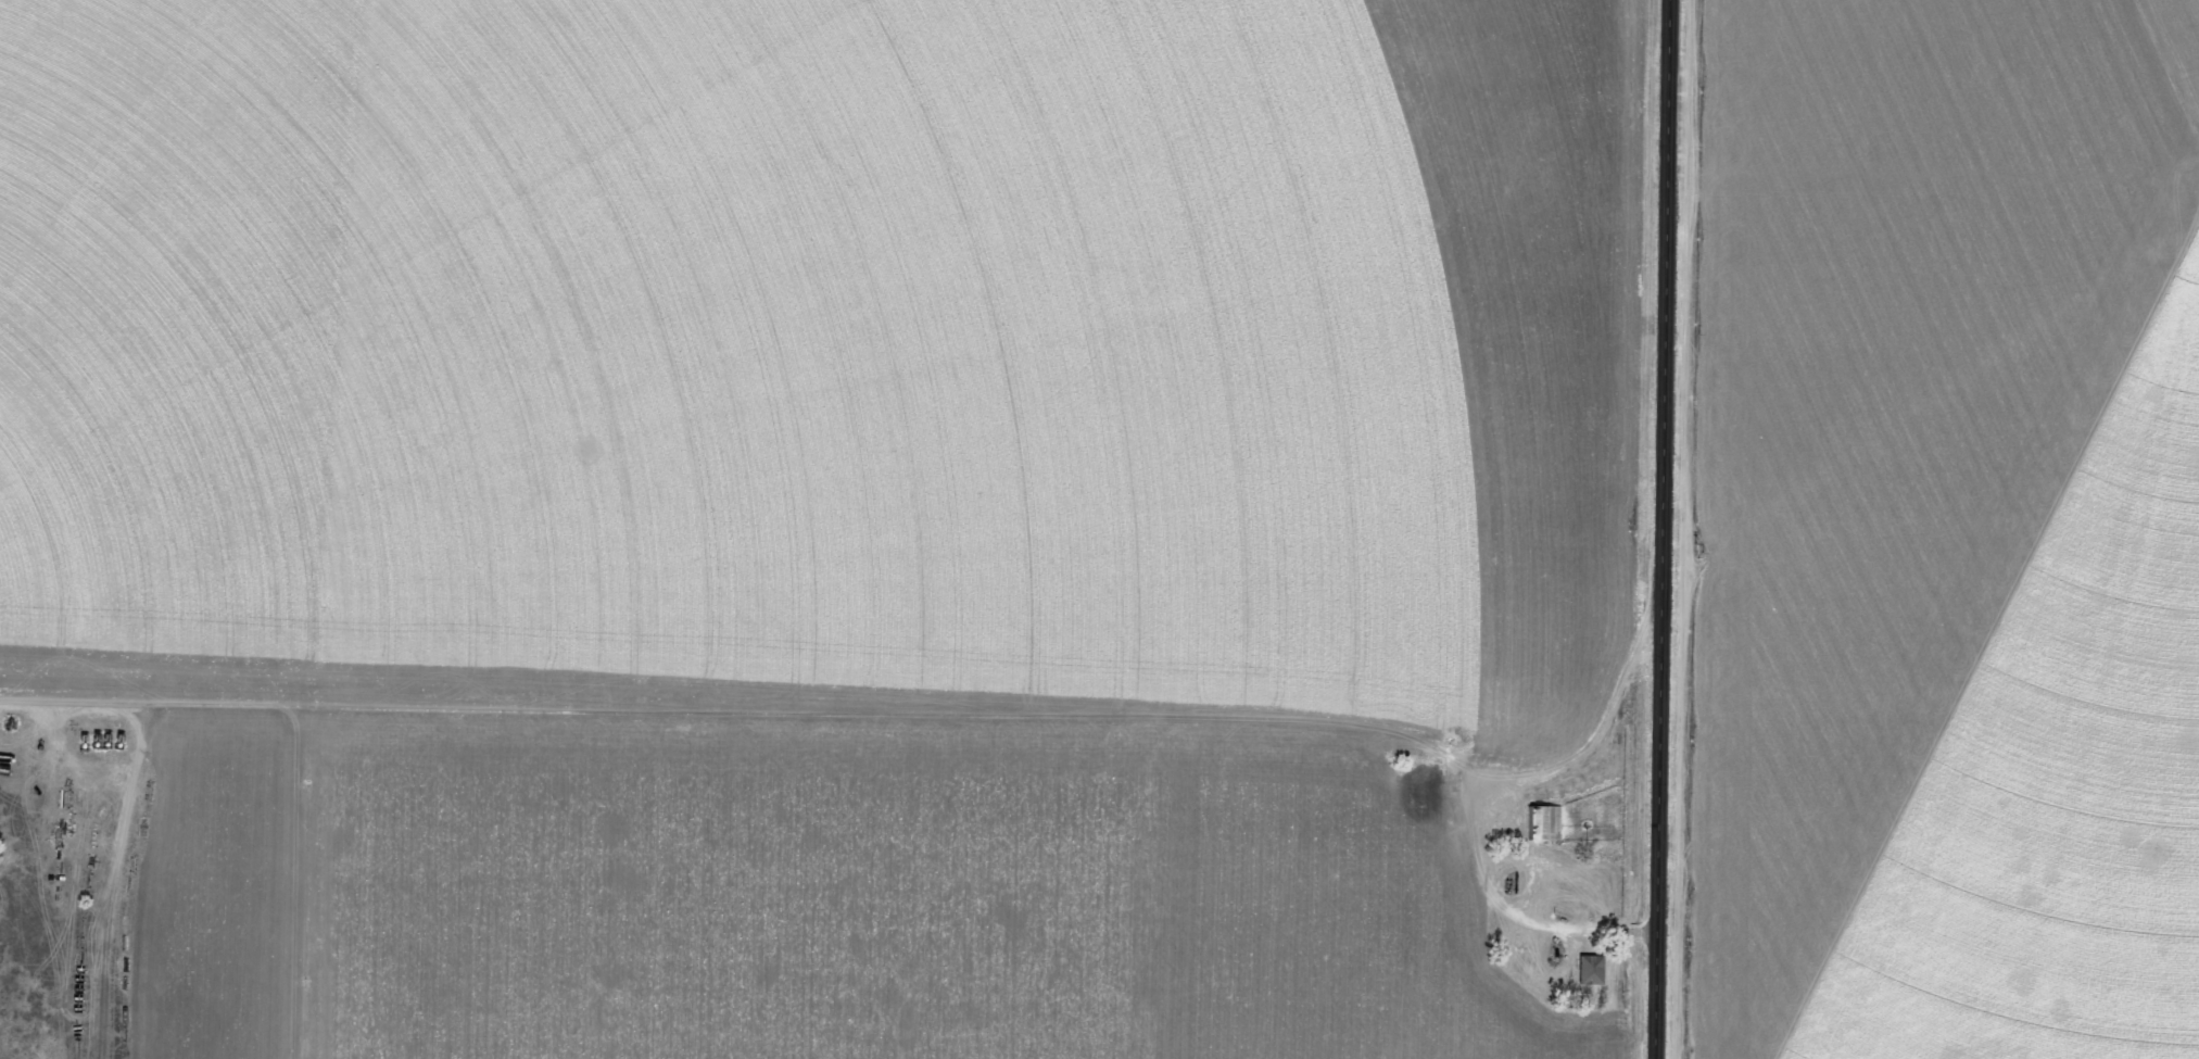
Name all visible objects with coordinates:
road: (309, 495)
road: (1667, 529)
road: (1931, 748)
road: (278, 880)
building: (1595, 969)

